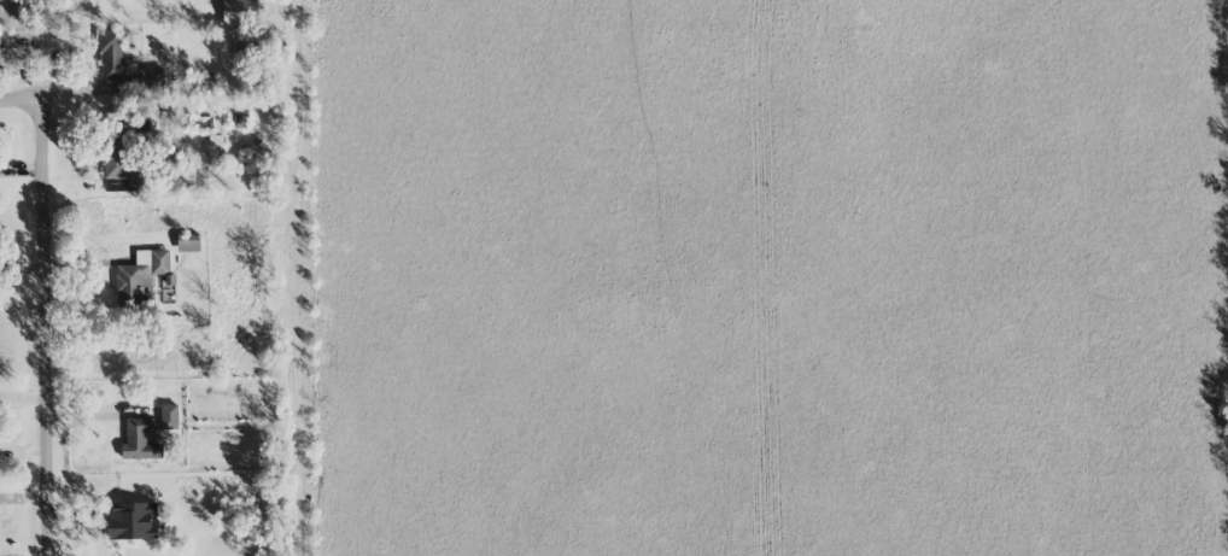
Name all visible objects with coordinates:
building: (239, 11)
building: (127, 65)
building: (203, 82)
road: (24, 103)
building: (156, 119)
building: (215, 146)
building: (116, 156)
building: (188, 241)
building: (140, 271)
road: (291, 277)
road: (54, 336)
building: (169, 416)
building: (139, 439)
building: (131, 520)

